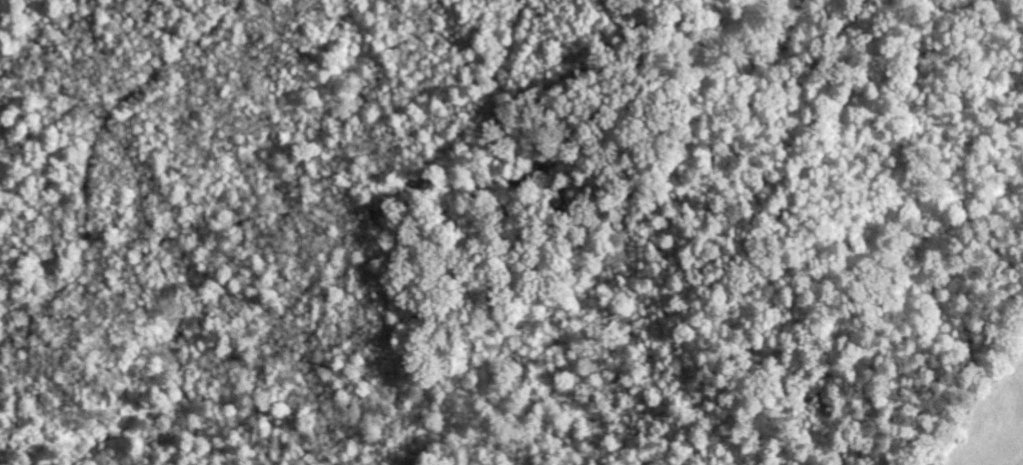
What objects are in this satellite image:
road: (746, 232)

